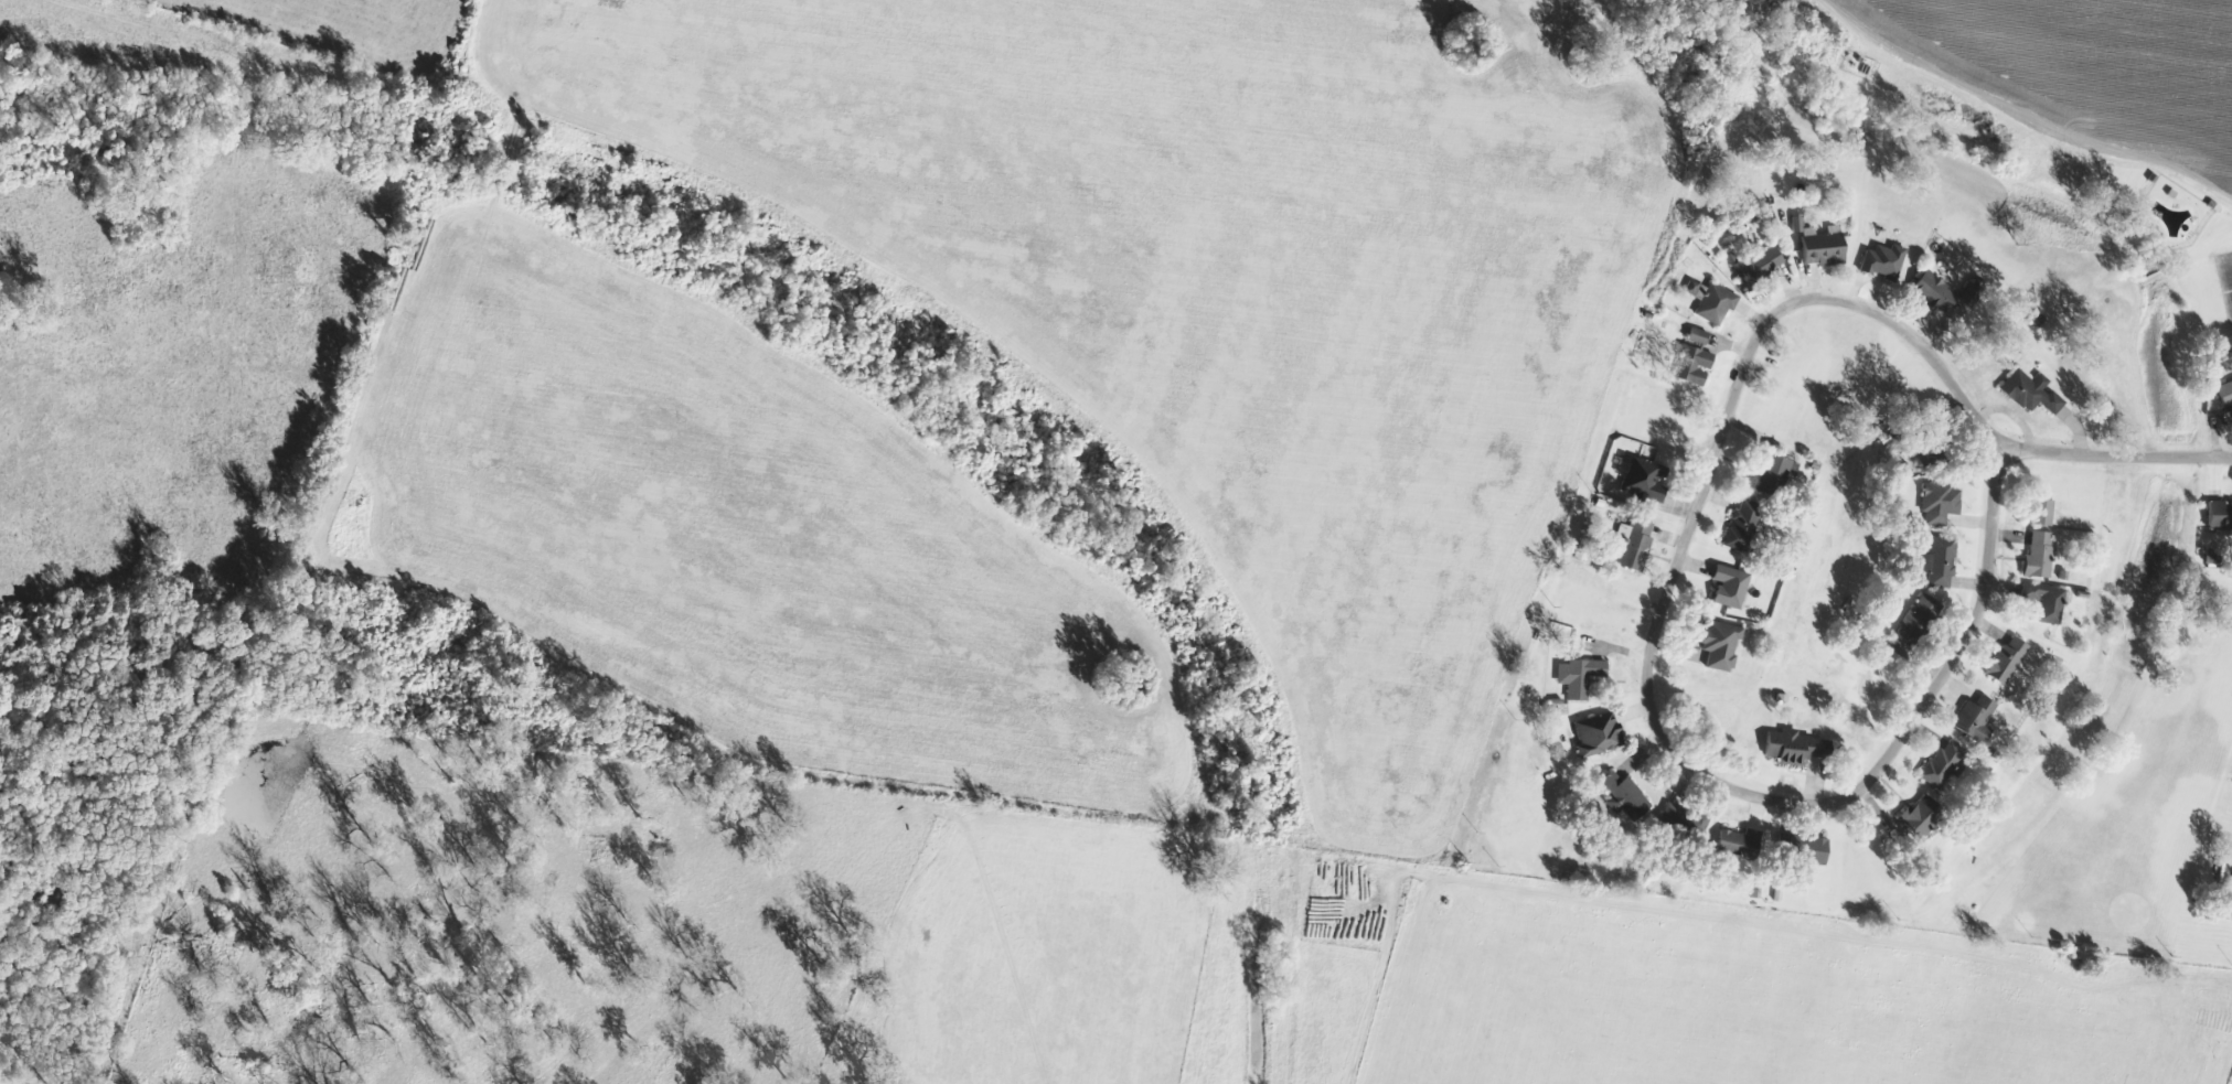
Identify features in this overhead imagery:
building: (1822, 247)
building: (1882, 262)
building: (1758, 265)
building: (1932, 293)
building: (1711, 301)
building: (1694, 358)
building: (2030, 393)
road: (2112, 455)
building: (1641, 481)
road: (1696, 494)
building: (1940, 504)
building: (2041, 513)
building: (2219, 516)
building: (1742, 527)
building: (1633, 545)
building: (2038, 557)
building: (1936, 564)
building: (1729, 587)
building: (2044, 602)
building: (1915, 619)
building: (1719, 645)
building: (2007, 662)
building: (1579, 677)
building: (1975, 719)
building: (1595, 736)
building: (1793, 748)
building: (1943, 766)
building: (1623, 796)
building: (1920, 816)
building: (1683, 823)
building: (1738, 844)
building: (1801, 848)

